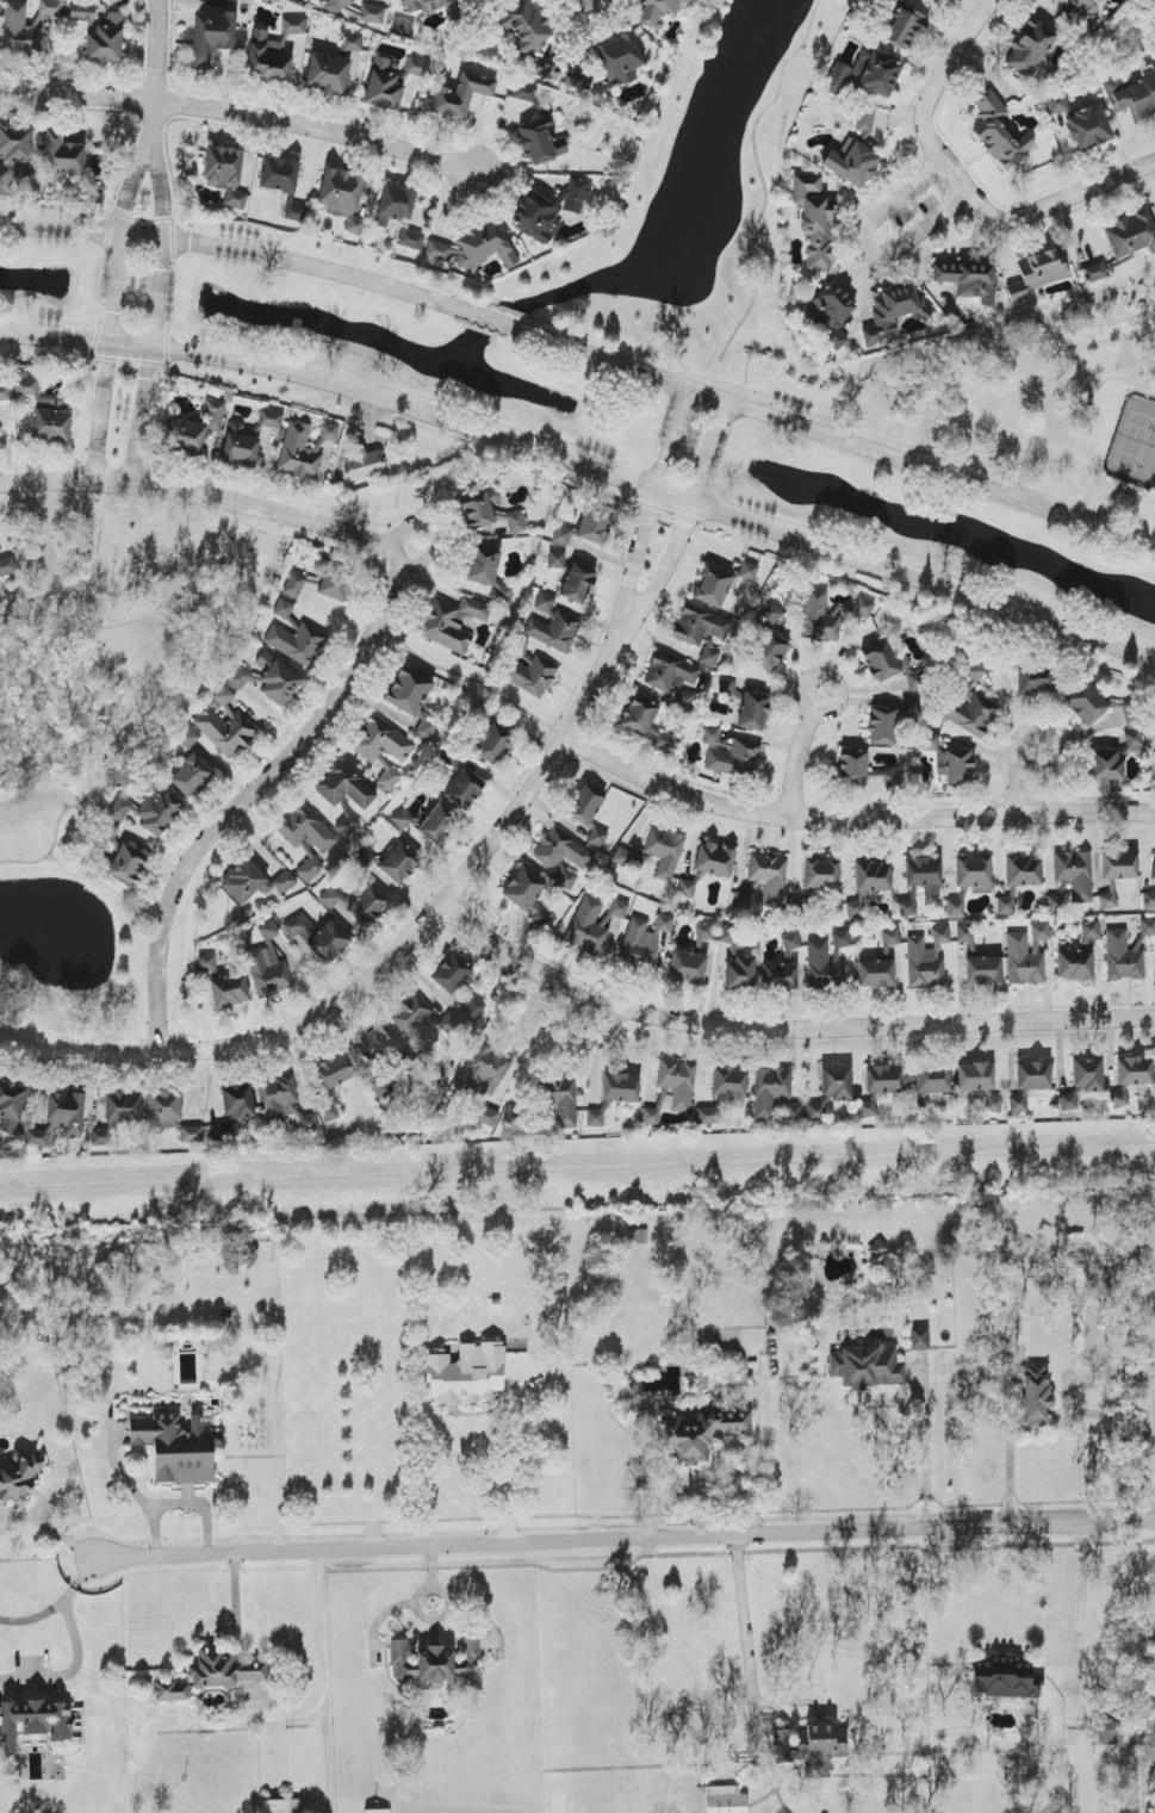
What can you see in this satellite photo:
building: (337, 5)
building: (424, 5)
building: (51, 8)
building: (82, 11)
building: (656, 12)
building: (1086, 12)
building: (373, 14)
building: (294, 26)
building: (526, 26)
building: (905, 27)
building: (20, 30)
building: (212, 36)
building: (106, 41)
building: (353, 43)
building: (1030, 49)
building: (269, 57)
building: (619, 58)
building: (415, 69)
building: (328, 74)
building: (865, 75)
road: (159, 76)
building: (383, 87)
building: (524, 92)
road: (932, 94)
building: (461, 95)
building: (1132, 97)
building: (1057, 104)
road: (238, 122)
building: (1088, 129)
building: (1000, 132)
building: (540, 143)
building: (17, 149)
building: (61, 157)
building: (851, 163)
building: (225, 174)
building: (279, 175)
road: (763, 185)
road: (132, 190)
road: (160, 194)
building: (343, 198)
road: (1058, 204)
building: (396, 206)
building: (549, 210)
building: (814, 221)
road: (60, 229)
road: (141, 235)
building: (1131, 235)
building: (412, 240)
building: (476, 248)
road: (864, 249)
road: (319, 267)
building: (1097, 272)
building: (1037, 273)
building: (969, 280)
road: (119, 287)
road: (162, 293)
building: (893, 312)
building: (830, 313)
road: (497, 321)
road: (56, 340)
road: (133, 346)
building: (5, 392)
building: (33, 392)
road: (741, 397)
road: (99, 411)
road: (1069, 416)
road: (145, 417)
building: (271, 418)
building: (51, 426)
building: (197, 428)
road: (837, 439)
road: (671, 440)
park: (1135, 441)
building: (240, 446)
road: (912, 446)
building: (304, 449)
road: (712, 453)
park: (1151, 465)
building: (364, 466)
road: (658, 493)
road: (203, 497)
building: (489, 513)
road: (201, 522)
building: (595, 524)
road: (433, 535)
building: (563, 535)
building: (557, 559)
road: (634, 559)
building: (482, 565)
building: (7, 566)
road: (665, 570)
building: (749, 572)
building: (335, 579)
building: (578, 584)
building: (294, 585)
building: (714, 585)
building: (503, 592)
building: (284, 609)
building: (772, 614)
road: (32, 615)
building: (828, 615)
road: (129, 622)
building: (452, 622)
building: (700, 626)
building: (553, 627)
building: (297, 642)
building: (768, 650)
building: (709, 657)
building: (881, 660)
building: (530, 671)
building: (672, 677)
building: (240, 678)
building: (278, 679)
building: (1033, 681)
building: (729, 687)
building: (409, 691)
building: (223, 696)
building: (1087, 703)
building: (970, 704)
road: (802, 707)
building: (909, 708)
building: (753, 710)
building: (882, 726)
building: (426, 727)
building: (226, 731)
road: (1035, 731)
building: (187, 738)
building: (496, 745)
building: (384, 749)
building: (731, 753)
road: (105, 757)
building: (951, 762)
building: (852, 768)
building: (191, 776)
building: (892, 777)
building: (344, 787)
building: (464, 789)
road: (37, 794)
road: (249, 795)
building: (585, 805)
building: (149, 813)
building: (402, 819)
road: (853, 821)
building: (347, 825)
building: (439, 825)
building: (305, 830)
building: (110, 833)
building: (598, 838)
building: (665, 851)
building: (564, 856)
building: (621, 857)
building: (715, 861)
building: (399, 863)
building: (128, 864)
building: (310, 865)
building: (1119, 865)
building: (1023, 871)
building: (974, 874)
building: (1075, 874)
building: (821, 875)
building: (925, 875)
building: (770, 877)
building: (873, 877)
building: (1153, 877)
road: (104, 882)
building: (254, 882)
building: (685, 888)
building: (528, 895)
building: (333, 899)
building: (744, 899)
building: (1148, 900)
building: (1107, 901)
building: (1056, 904)
building: (367, 906)
building: (1005, 906)
building: (956, 907)
building: (856, 908)
building: (595, 923)
building: (299, 927)
building: (1148, 927)
building: (704, 933)
building: (965, 935)
building: (890, 937)
building: (842, 939)
building: (645, 940)
building: (791, 942)
building: (329, 943)
building: (1026, 955)
building: (1079, 956)
building: (1124, 956)
building: (926, 960)
building: (207, 963)
road: (387, 963)
building: (738, 963)
building: (268, 966)
building: (825, 966)
building: (688, 968)
building: (983, 970)
building: (452, 974)
building: (876, 974)
building: (778, 977)
building: (229, 991)
building: (473, 1011)
road: (142, 1016)
building: (416, 1023)
building: (449, 1026)
road: (783, 1027)
road: (148, 1043)
road: (551, 1045)
building: (375, 1047)
building: (1135, 1070)
building: (483, 1072)
building: (1033, 1075)
building: (975, 1078)
building: (932, 1079)
building: (883, 1080)
building: (1083, 1080)
building: (678, 1082)
building: (331, 1084)
building: (731, 1085)
building: (384, 1088)
building: (621, 1088)
building: (831, 1091)
building: (775, 1097)
building: (560, 1099)
building: (1119, 1099)
building: (238, 1103)
building: (993, 1103)
building: (284, 1104)
building: (1018, 1104)
building: (11, 1106)
building: (123, 1109)
building: (164, 1110)
building: (868, 1110)
building: (67, 1112)
building: (709, 1115)
building: (486, 1116)
building: (651, 1117)
building: (596, 1118)
building: (192, 1135)
building: (101, 1137)
building: (38, 1138)
building: (877, 1250)
building: (919, 1339)
building: (867, 1367)
building: (466, 1373)
road: (1119, 1376)
building: (1036, 1396)
building: (698, 1435)
building: (175, 1448)
road: (927, 1454)
road: (509, 1464)
road: (1012, 1467)
building: (19, 1478)
road: (625, 1534)
road: (1082, 1592)
road: (60, 1604)
road: (745, 1620)
building: (435, 1663)
road: (73, 1668)
building: (224, 1669)
road: (327, 1678)
building: (1002, 1679)
building: (172, 1691)
building: (33, 1720)
building: (1110, 1728)
building: (811, 1746)
building: (721, 1800)
building: (278, 1806)

